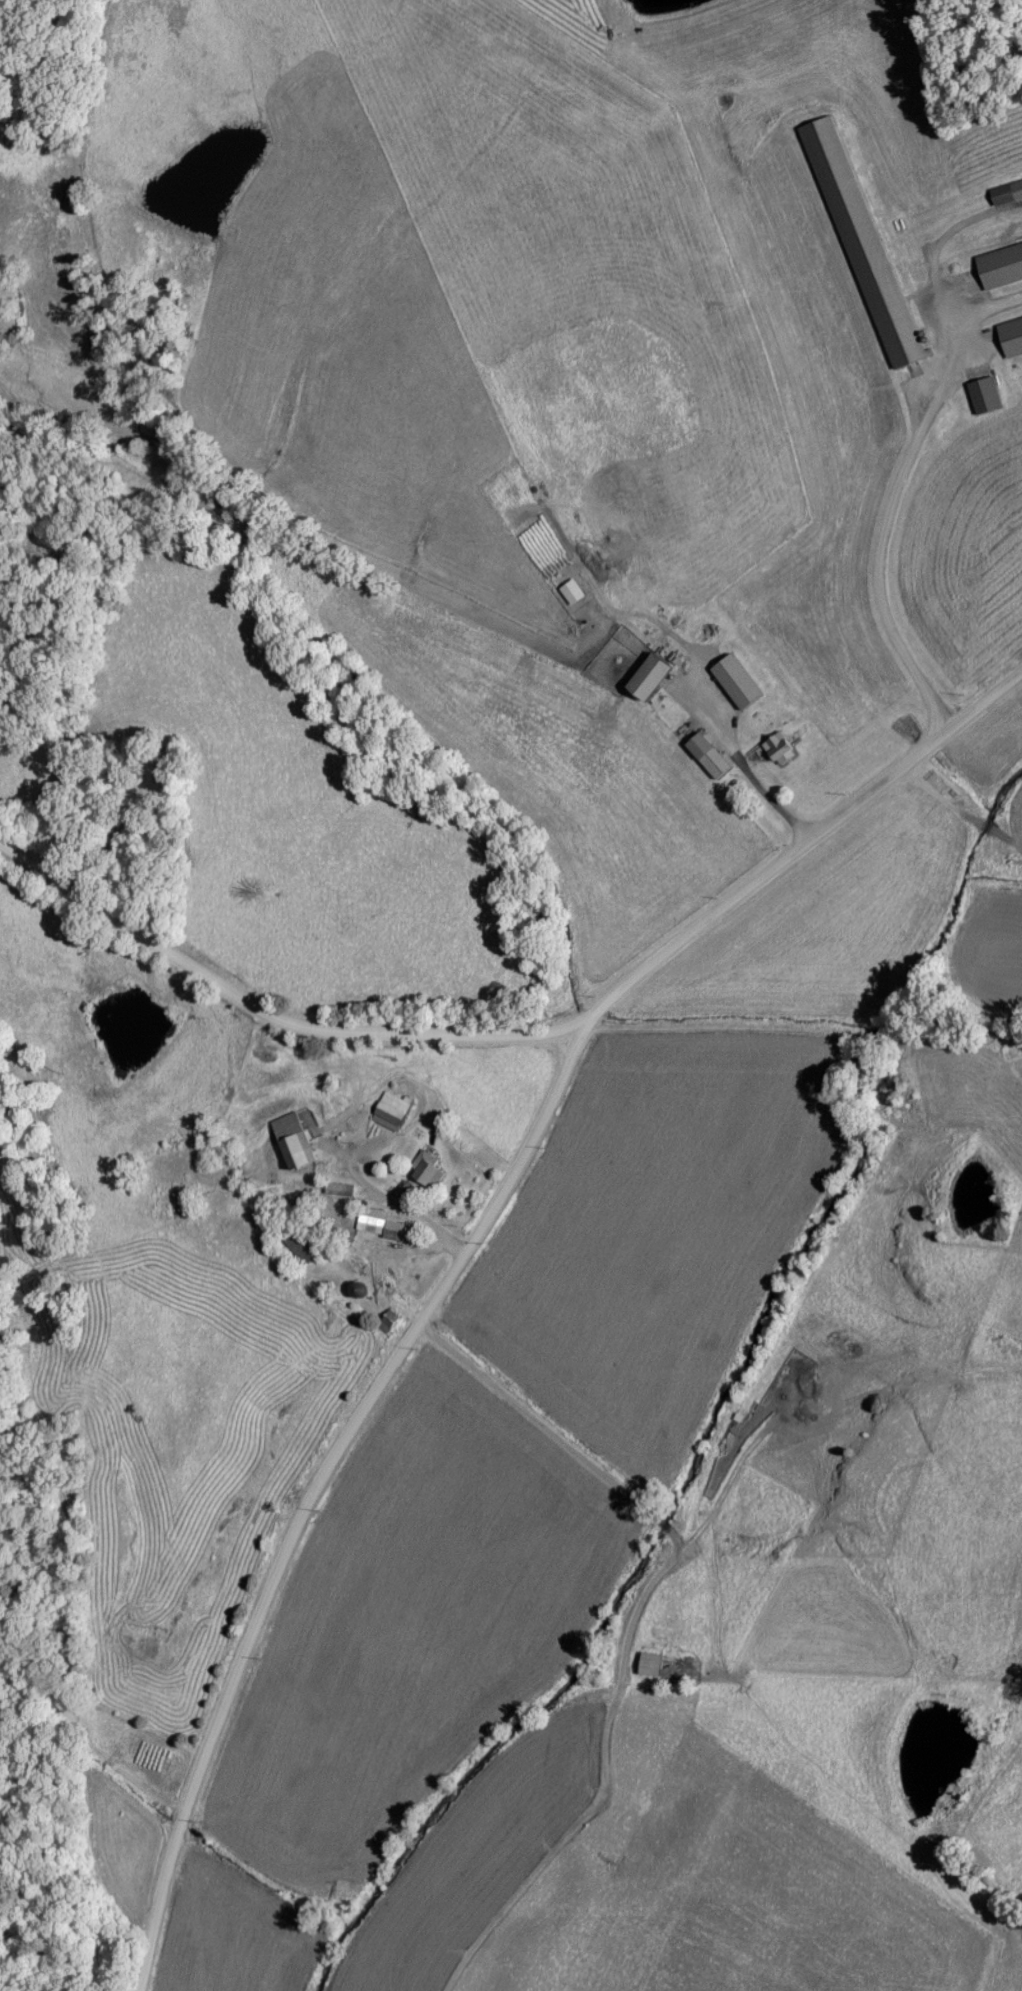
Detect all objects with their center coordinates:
building: (1006, 192)
building: (861, 241)
building: (998, 256)
building: (1009, 326)
building: (983, 394)
road: (881, 550)
building: (653, 671)
building: (735, 681)
building: (778, 748)
building: (714, 762)
road: (795, 848)
road: (269, 993)
building: (390, 1110)
building: (293, 1141)
building: (425, 1169)
building: (337, 1188)
building: (385, 1228)
building: (297, 1248)
building: (355, 1289)
road: (311, 1492)
building: (649, 1663)
road: (70, 1956)

